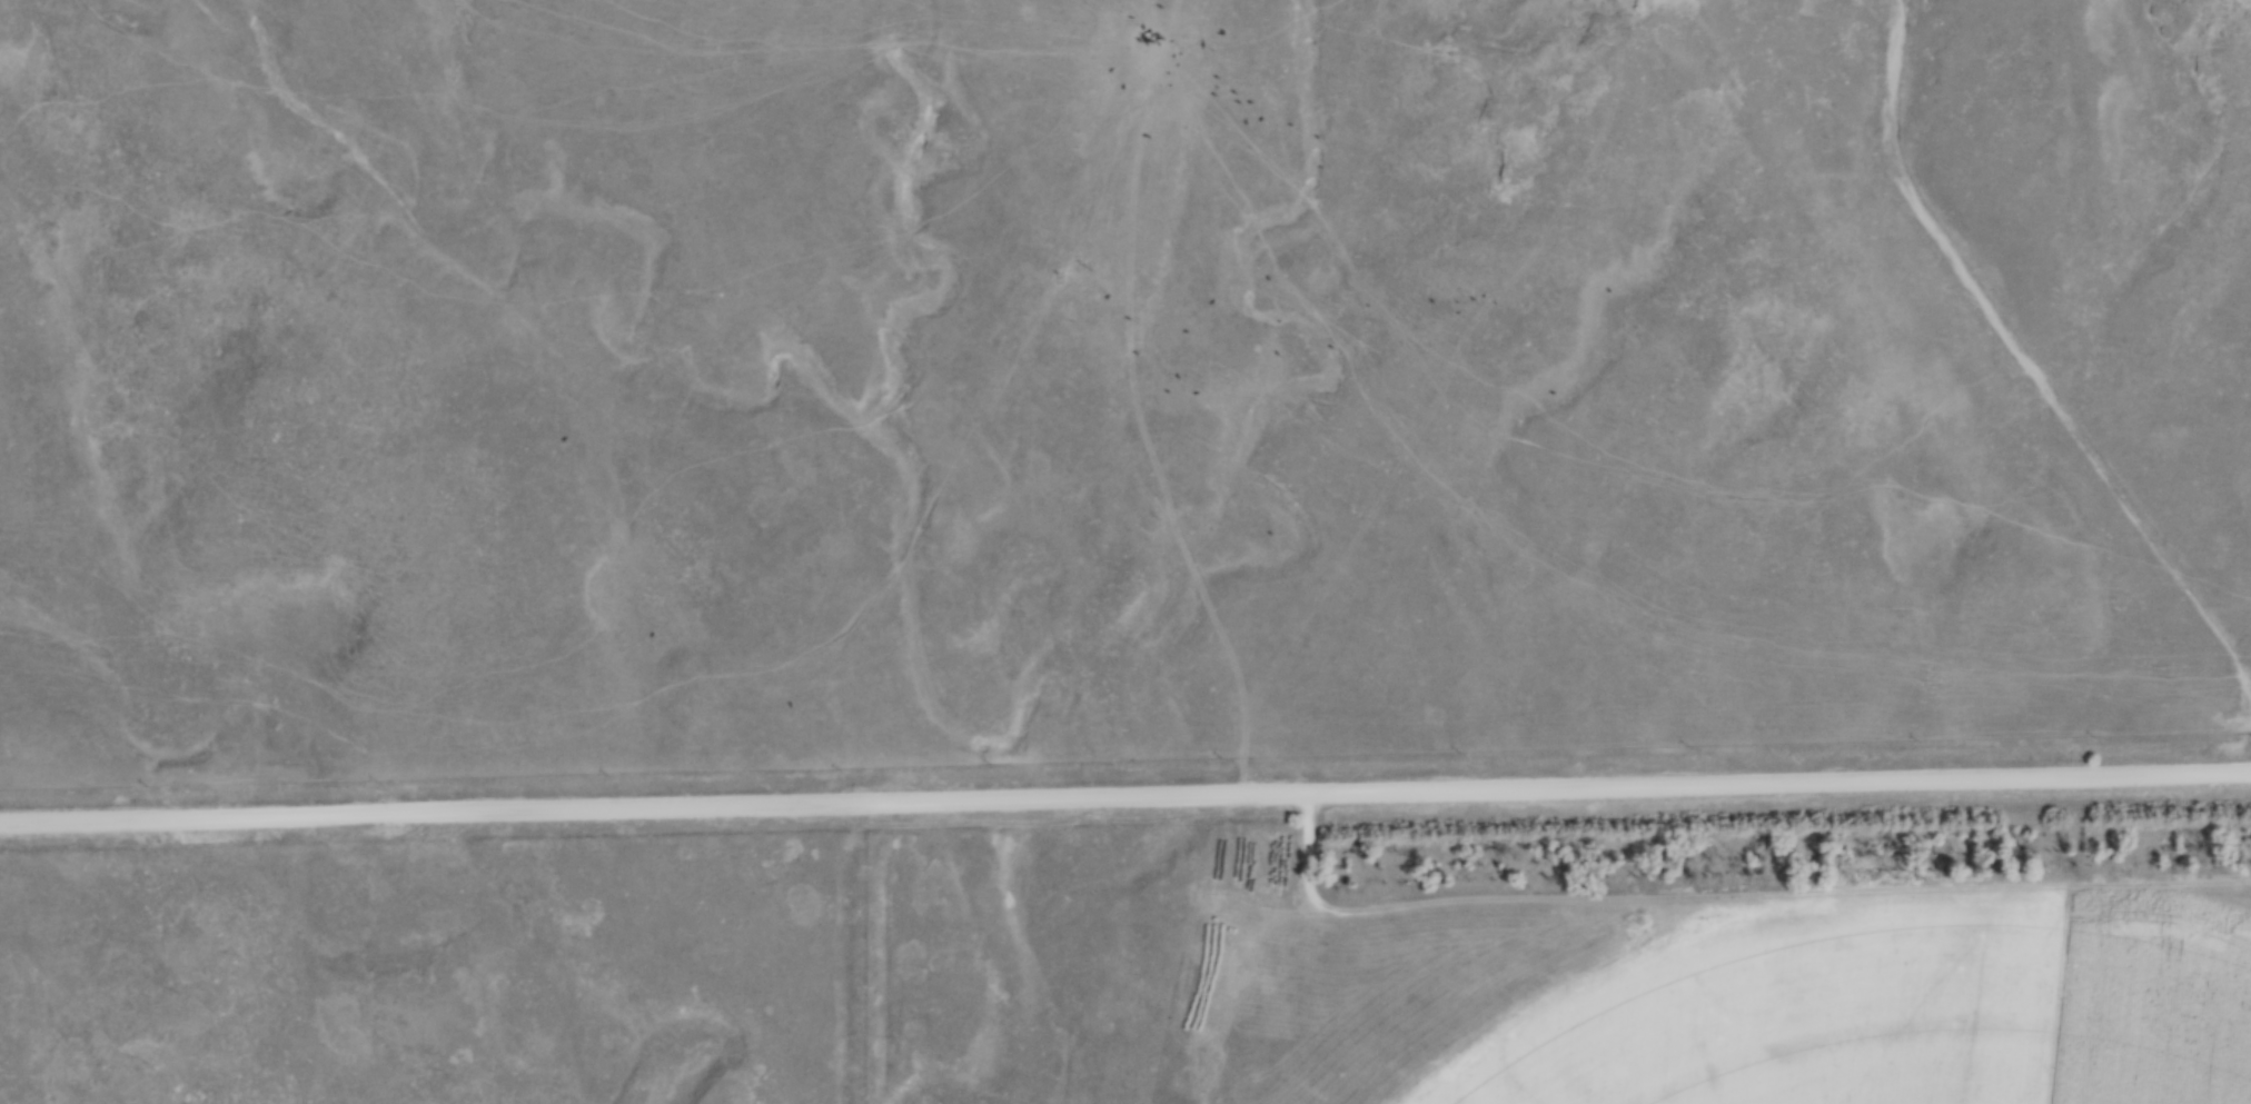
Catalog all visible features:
road: (1125, 789)

